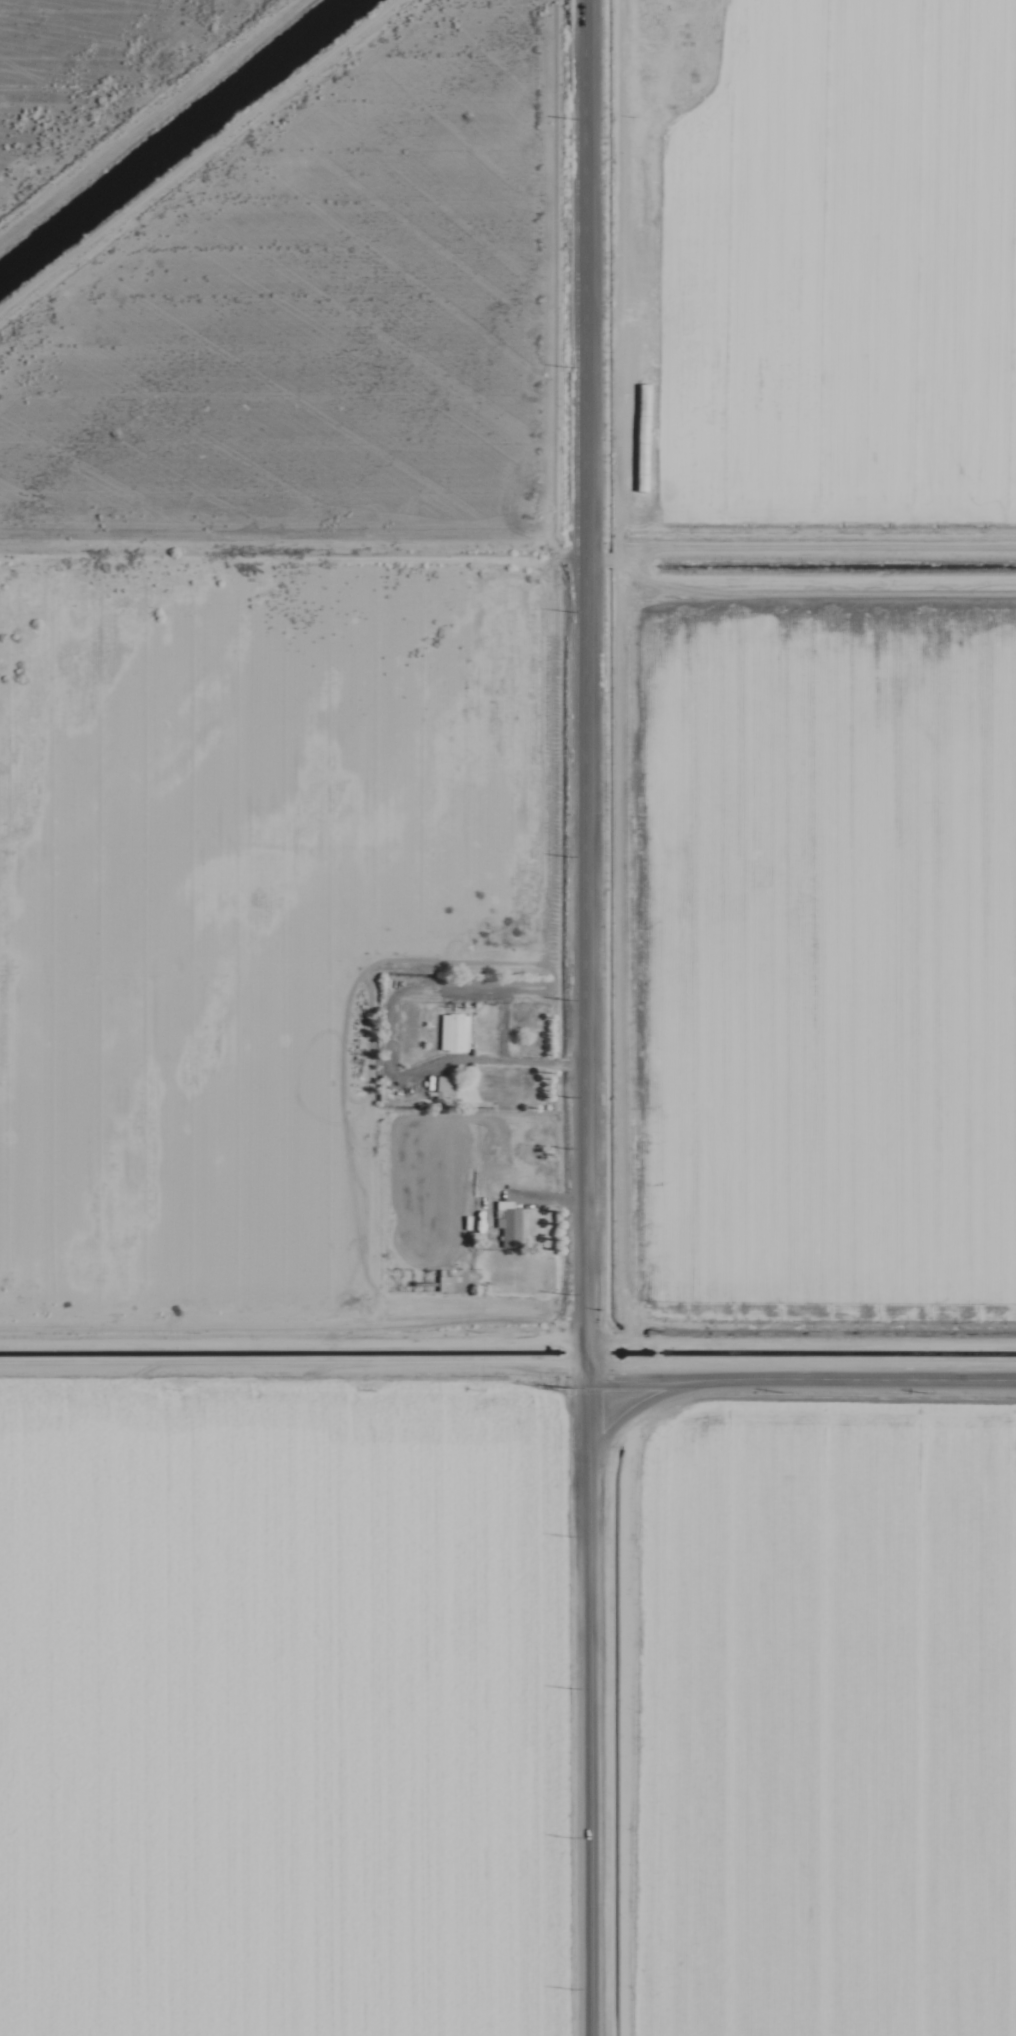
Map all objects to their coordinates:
road: (607, 1017)
crop: (275, 1023)
building: (452, 1034)
building: (441, 1085)
building: (506, 1224)
building: (443, 1284)
road: (815, 1424)

